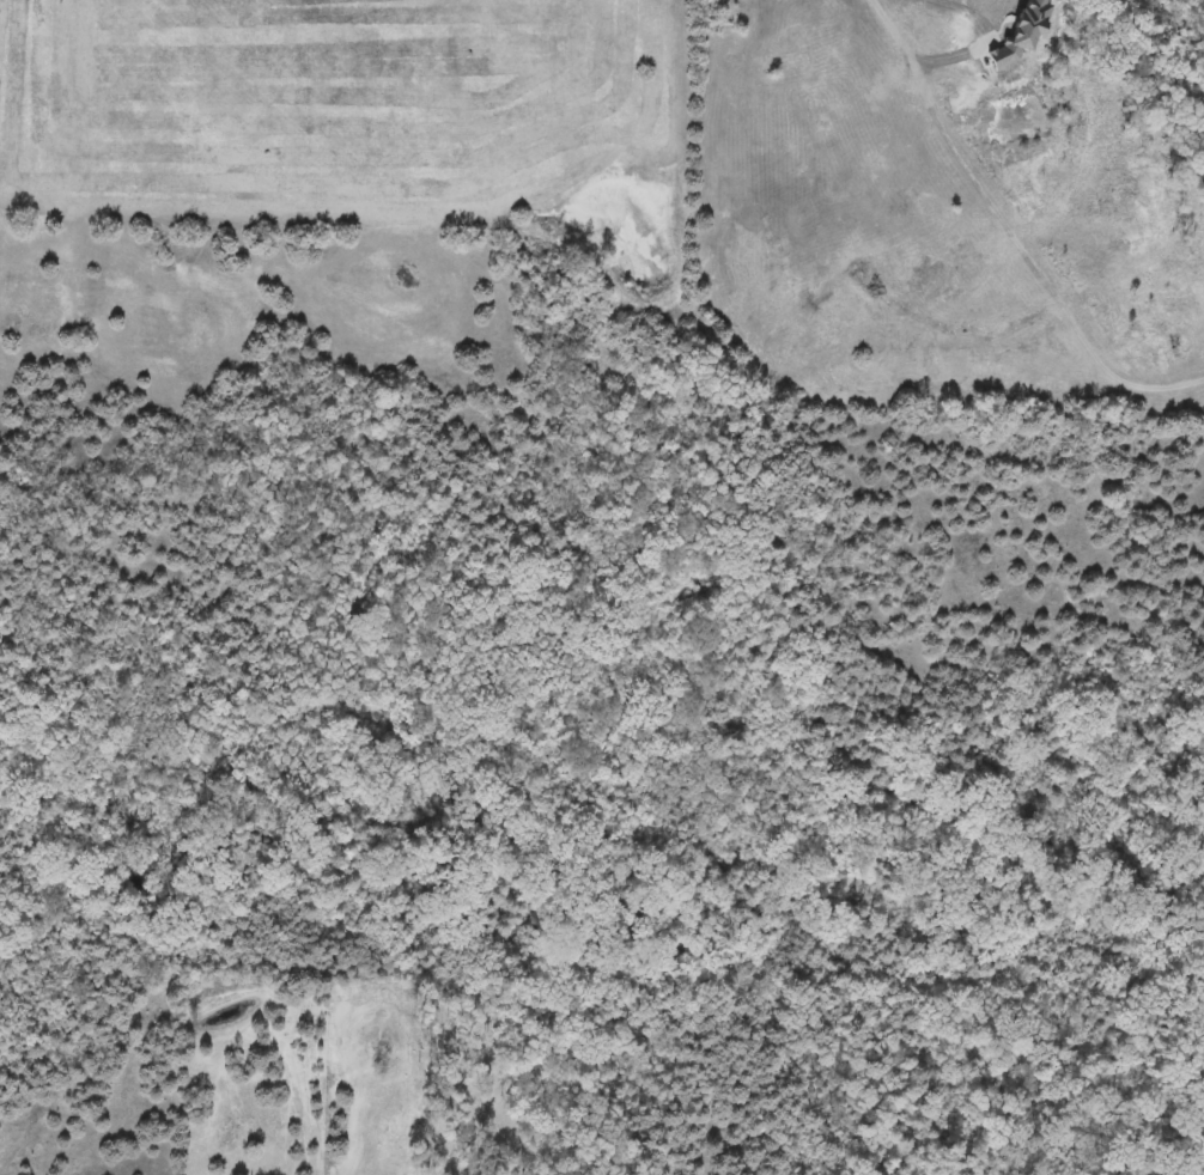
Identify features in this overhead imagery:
road: (900, 36)

